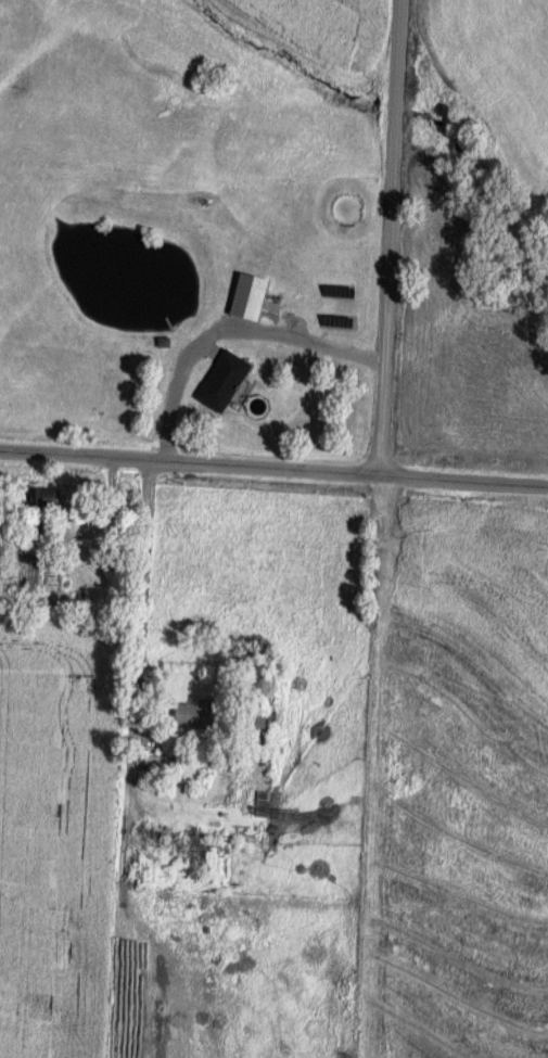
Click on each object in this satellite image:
road: (390, 237)
building: (254, 295)
building: (229, 380)
road: (163, 449)
road: (273, 468)
building: (52, 497)
building: (200, 714)
building: (157, 764)
building: (266, 803)
building: (229, 825)
building: (157, 849)

